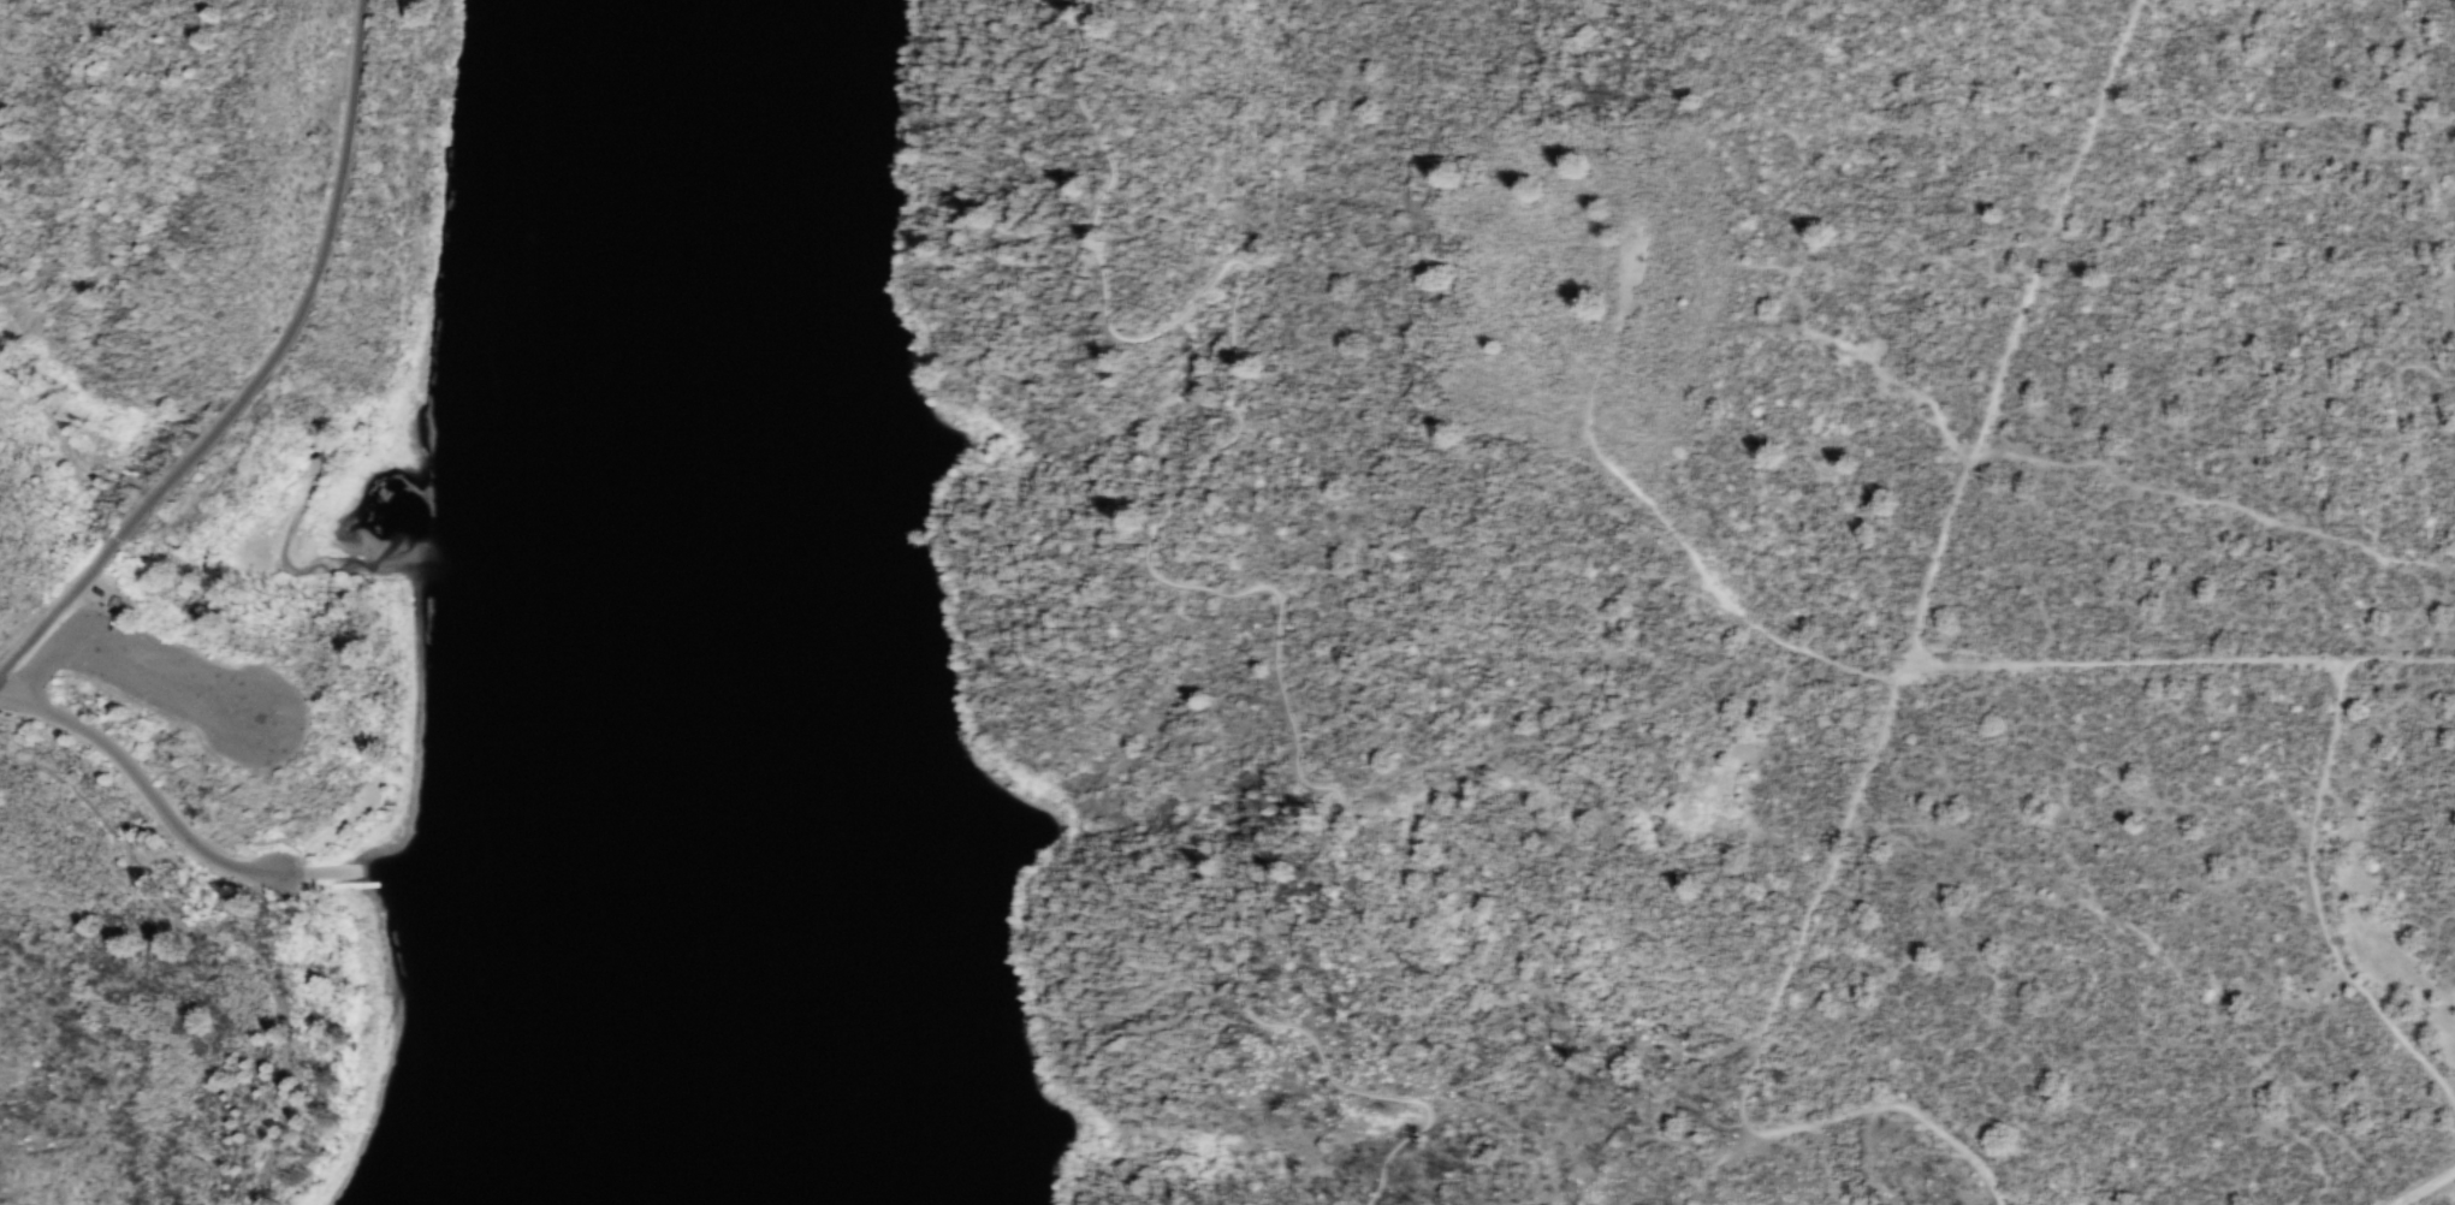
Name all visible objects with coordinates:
road: (2015, 327)
road: (263, 375)
road: (1659, 512)
road: (1178, 583)
river: (694, 601)
road: (125, 659)
road: (2321, 659)
road: (2050, 661)
road: (156, 803)
road: (1815, 896)
road: (2315, 903)
road: (1900, 1105)
road: (2421, 1187)

